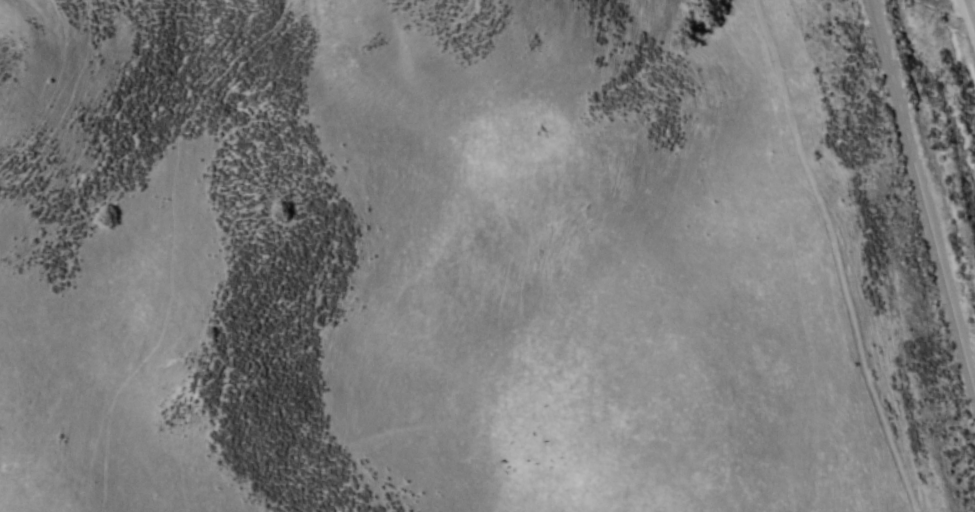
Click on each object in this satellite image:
road: (920, 198)

